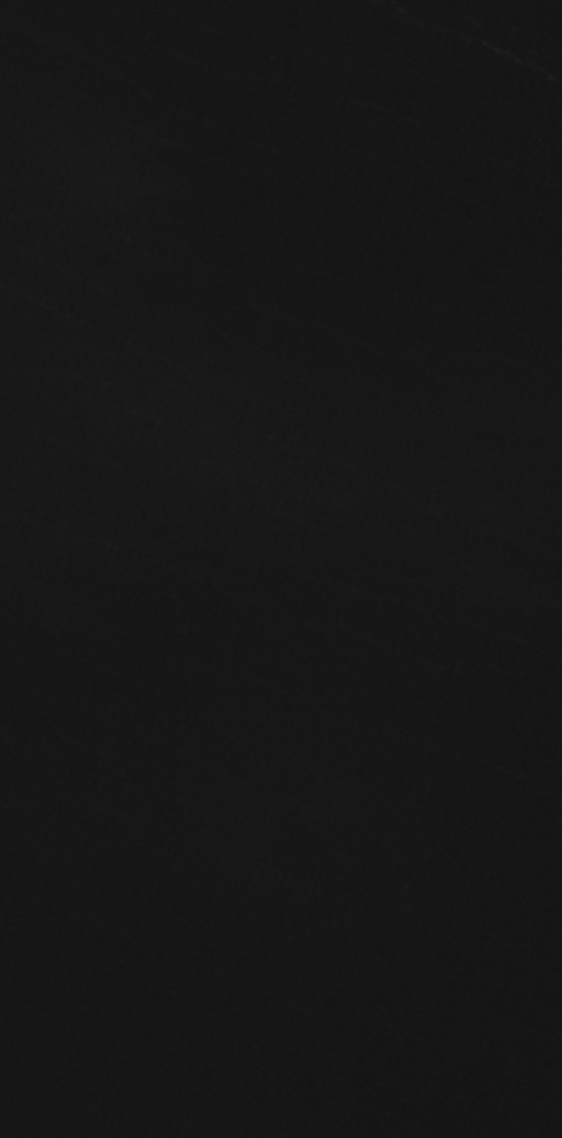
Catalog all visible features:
river: (230, 224)
river: (268, 565)

